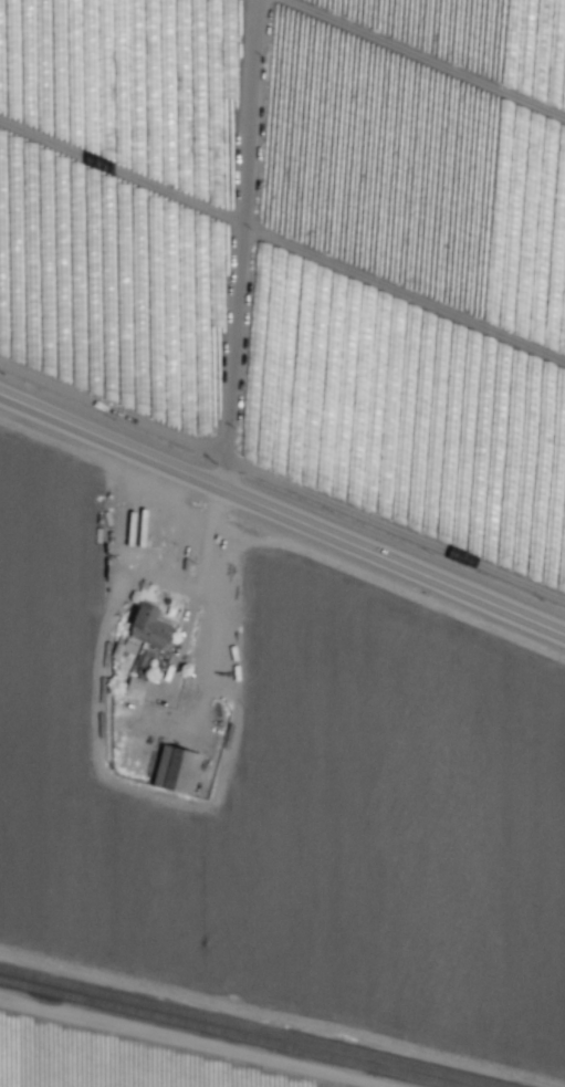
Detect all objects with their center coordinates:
road: (245, 244)
crop: (289, 504)
road: (283, 511)
building: (148, 626)
building: (134, 688)
building: (175, 770)
railway: (248, 1027)
railway: (226, 1033)
crop: (115, 1059)

